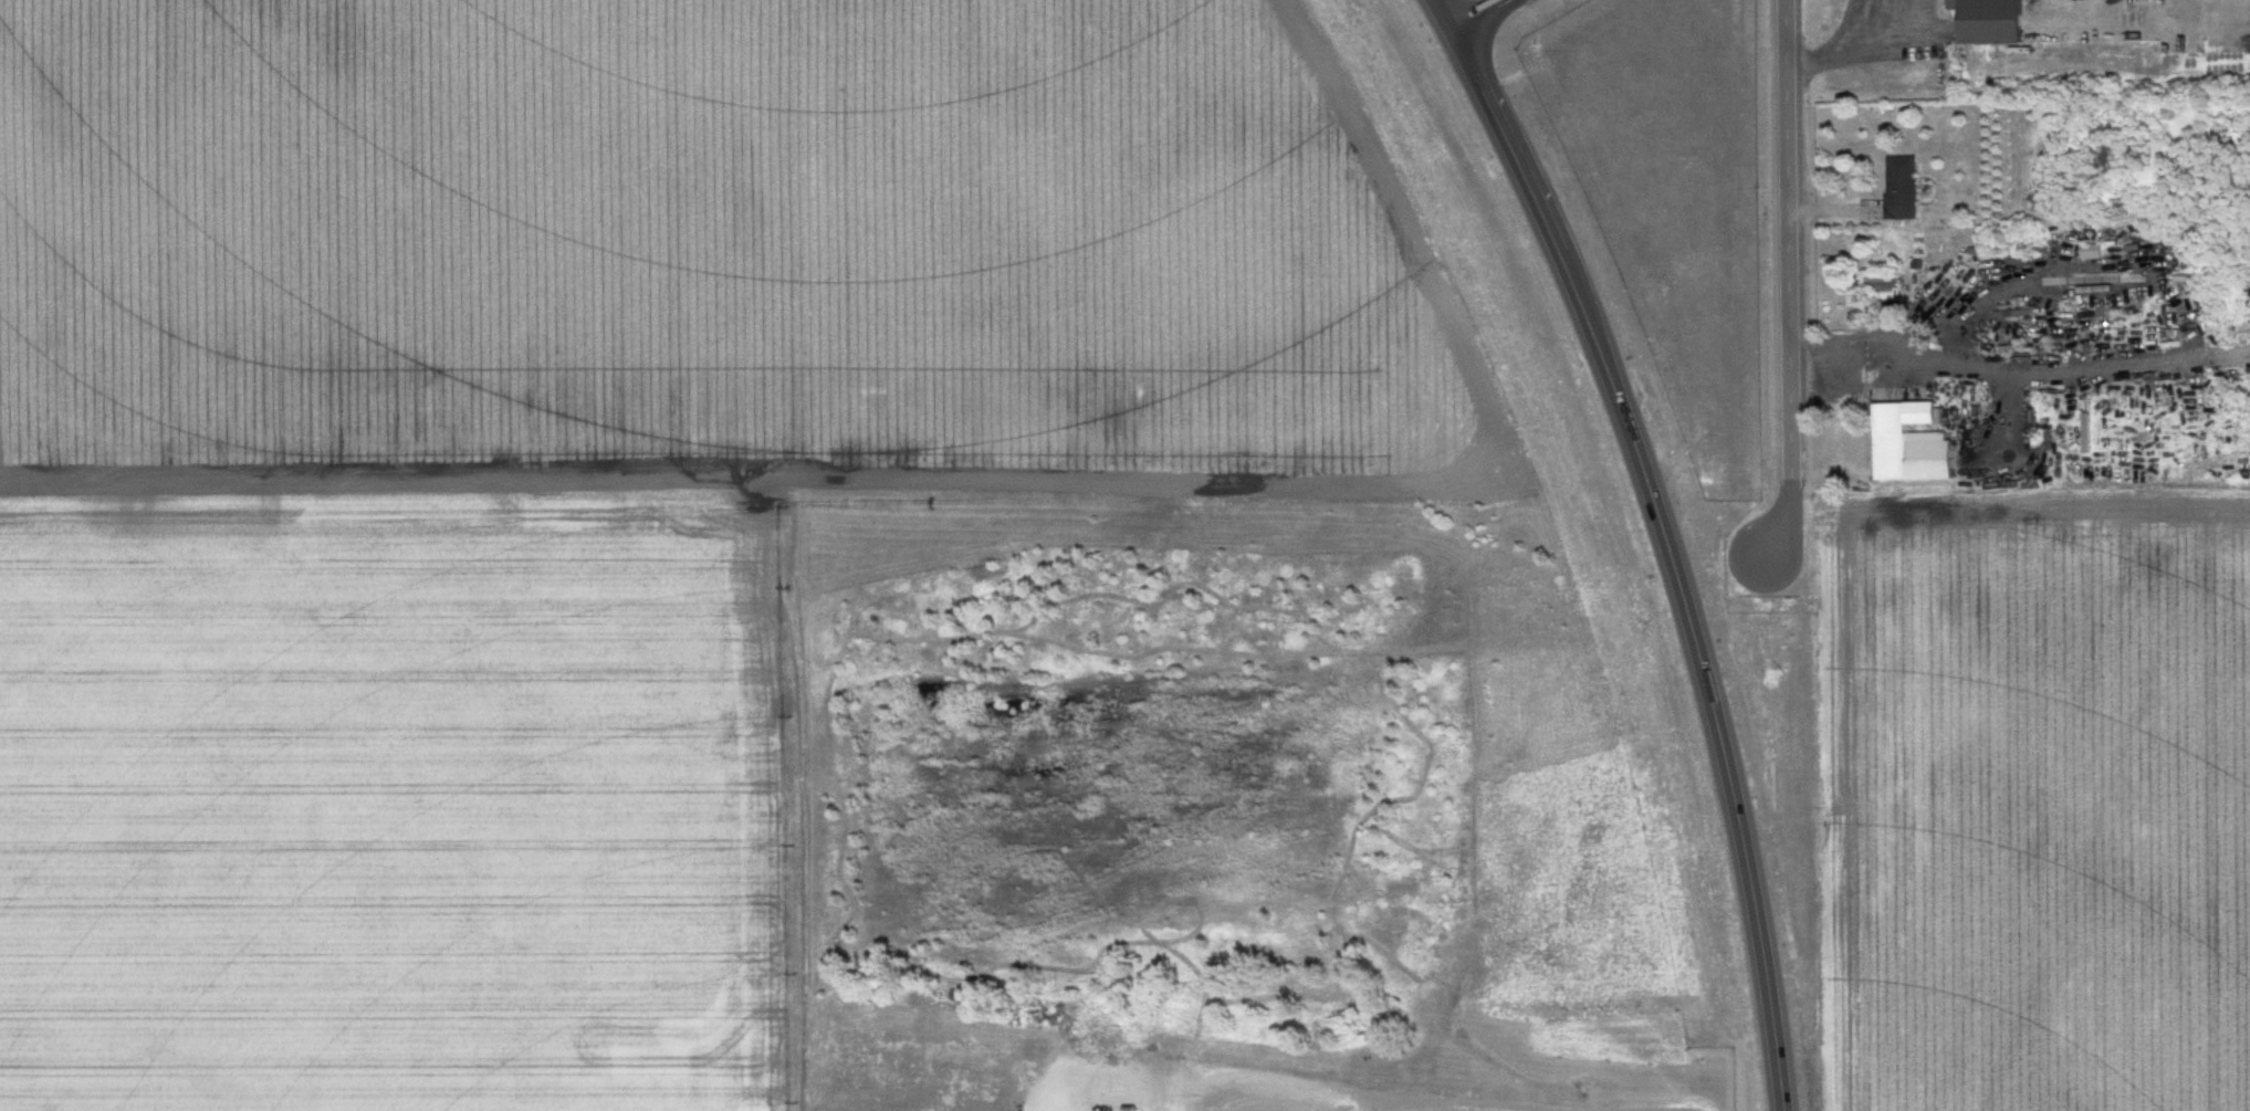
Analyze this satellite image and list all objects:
road: (1443, 13)
road: (1475, 13)
building: (1997, 22)
road: (1848, 48)
building: (1906, 190)
building: (2097, 251)
crop: (964, 255)
road: (1797, 274)
building: (1885, 287)
road: (2023, 380)
building: (1914, 443)
road: (1667, 552)
crop: (393, 797)
crop: (2047, 806)

